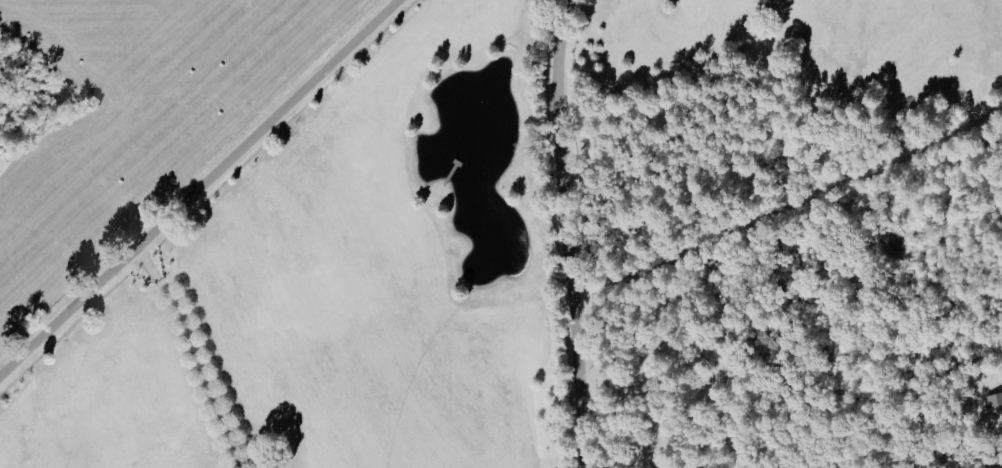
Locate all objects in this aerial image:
road: (197, 187)
road: (561, 233)
road: (196, 353)
building: (993, 401)

